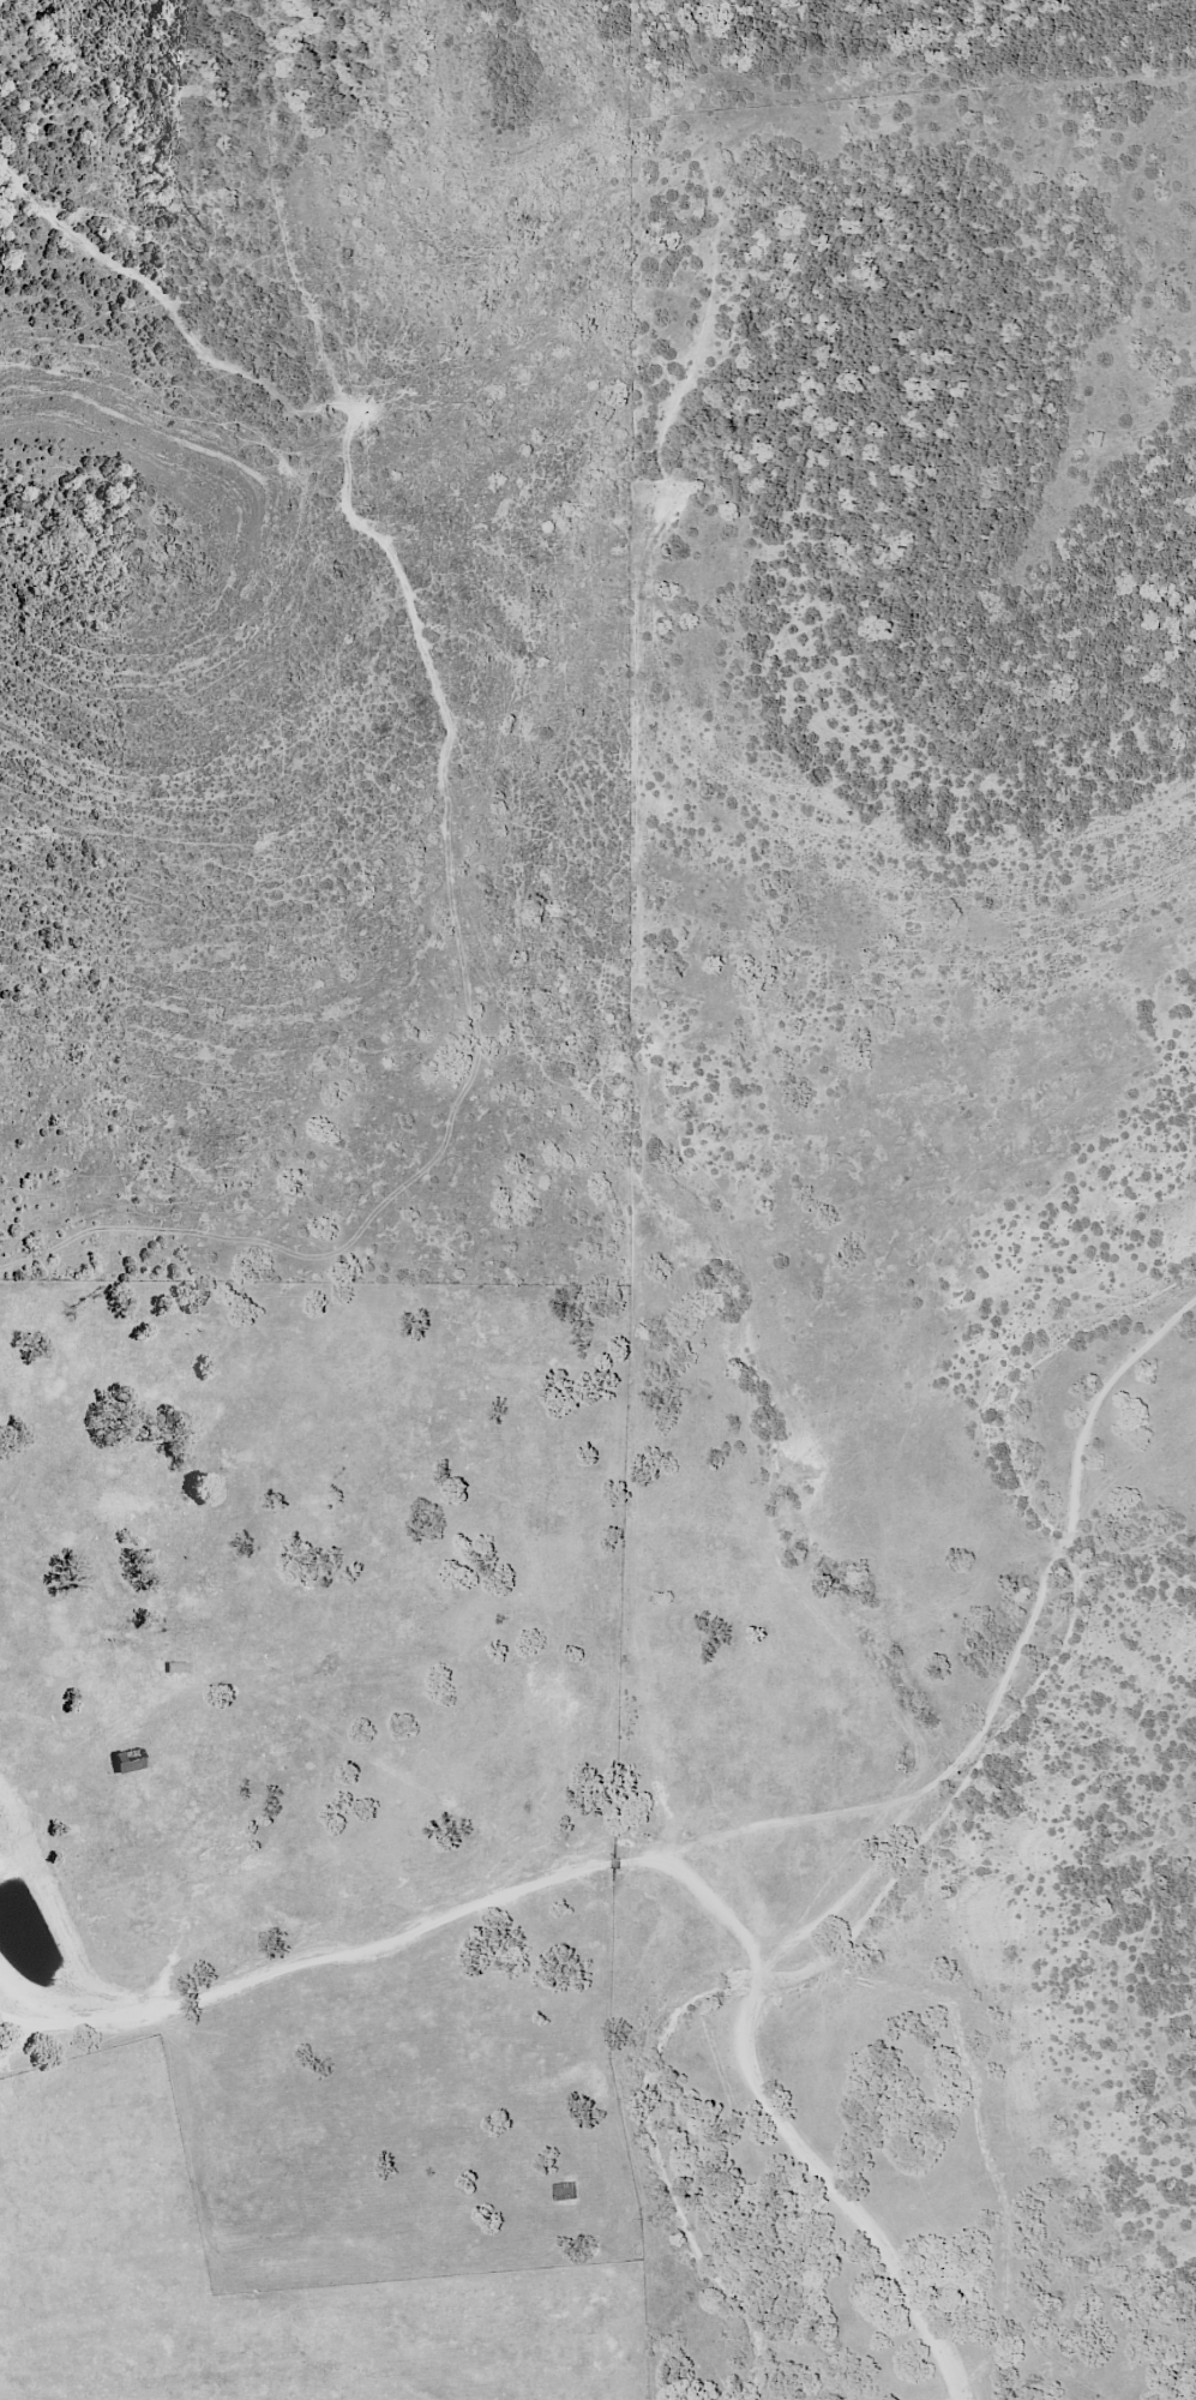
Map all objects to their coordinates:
road: (1011, 1658)
building: (125, 1762)
road: (633, 1860)

